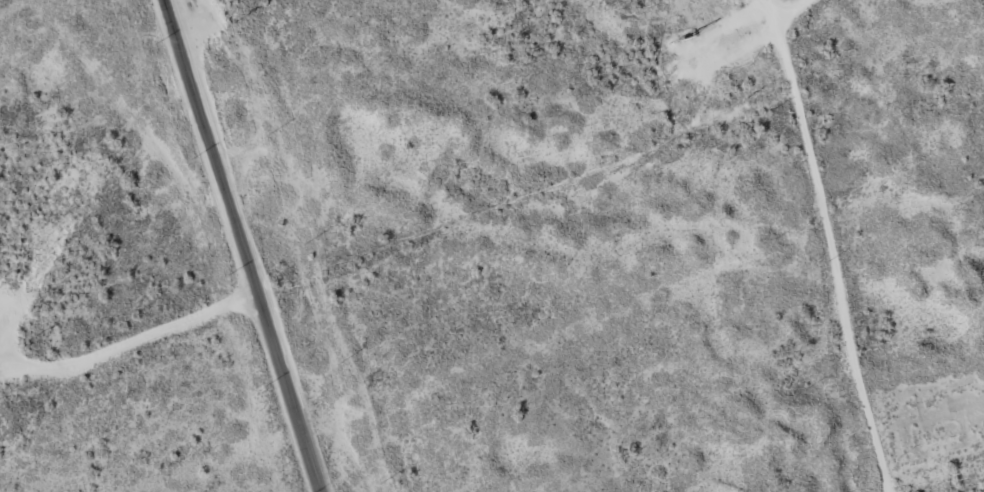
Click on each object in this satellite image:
road: (746, 34)
road: (788, 151)
road: (525, 231)
road: (236, 246)

